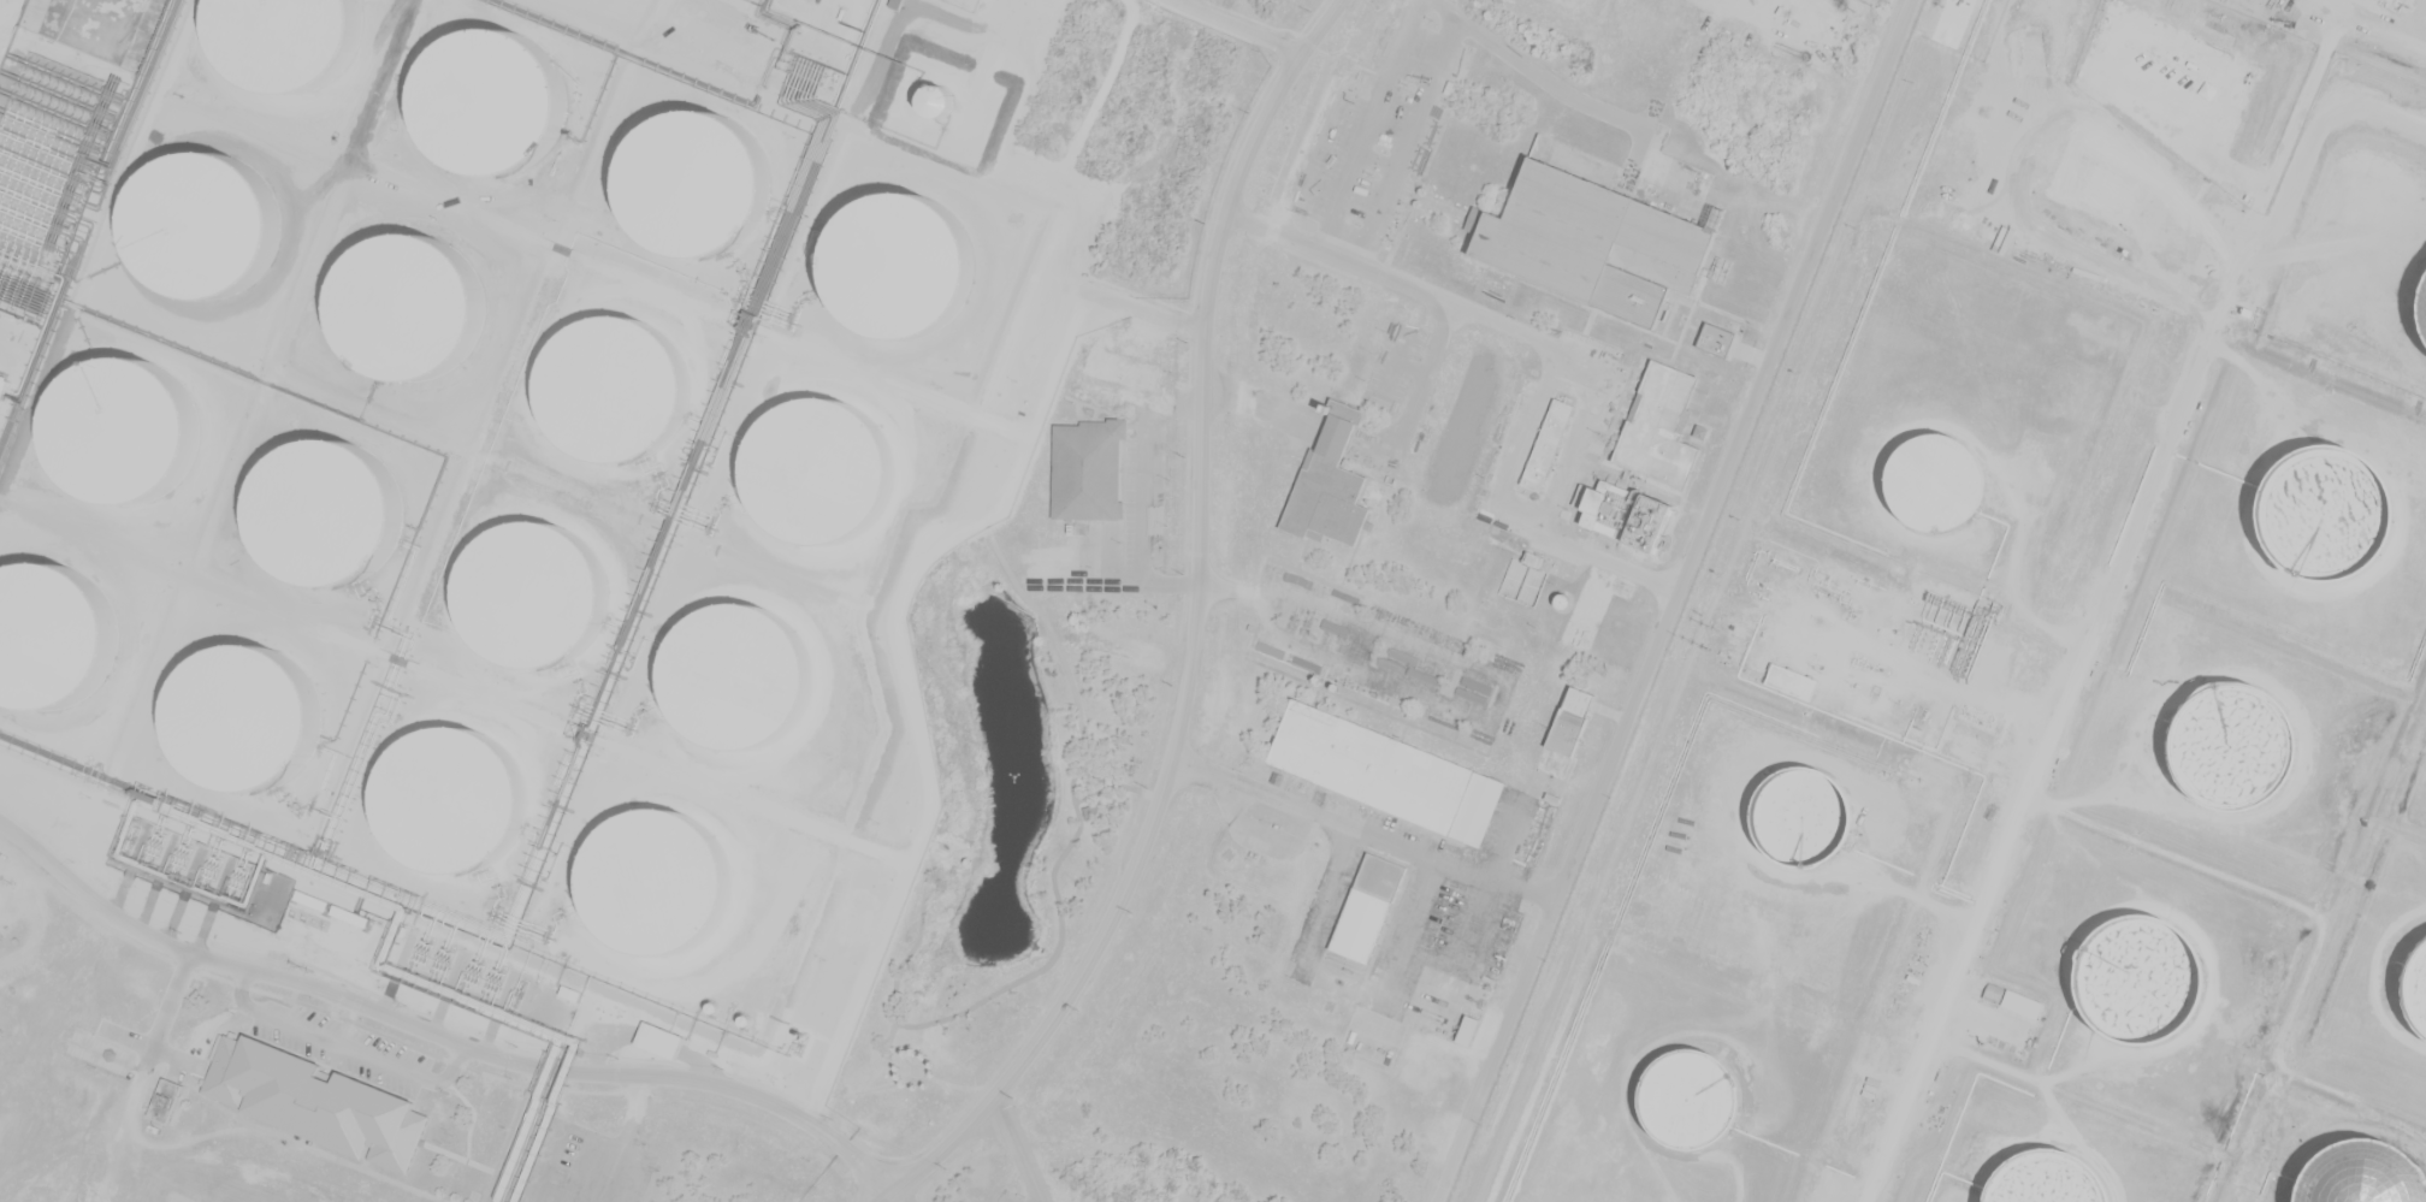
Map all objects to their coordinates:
road: (6, 8)
building: (838, 20)
road: (2374, 25)
building: (878, 32)
building: (336, 39)
building: (628, 79)
building: (309, 117)
building: (468, 119)
building: (598, 179)
building: (430, 231)
building: (410, 278)
building: (916, 284)
building: (1614, 308)
building: (445, 333)
building: (1715, 338)
building: (977, 341)
building: (1089, 342)
building: (202, 379)
building: (619, 391)
storage tank: (619, 391)
building: (272, 402)
building: (91, 411)
building: (335, 426)
building: (178, 442)
building: (1548, 443)
building: (401, 446)
building: (822, 467)
storage tank: (822, 467)
building: (1088, 468)
building: (245, 480)
building: (1330, 484)
building: (1939, 486)
storage tank: (1939, 486)
building: (371, 502)
building: (2326, 514)
storage tank: (2326, 514)
building: (267, 532)
building: (1395, 540)
building: (339, 576)
building: (531, 596)
storage tank: (531, 596)
building: (1562, 600)
storage tank: (1562, 600)
road: (1670, 600)
road: (1193, 634)
building: (745, 679)
storage tank: (745, 679)
building: (185, 680)
building: (1789, 681)
building: (270, 707)
building: (154, 715)
building: (1567, 732)
building: (2233, 750)
storage tank: (2233, 750)
building: (1389, 774)
building: (451, 798)
storage tank: (451, 798)
building: (1803, 817)
storage tank: (1803, 817)
building: (661, 880)
storage tank: (661, 880)
building: (1367, 905)
building: (823, 918)
building: (2138, 977)
storage tank: (2138, 977)
building: (2418, 988)
storage tank: (2418, 988)
building: (1992, 991)
building: (572, 994)
building: (1468, 1029)
road: (437, 1032)
building: (661, 1040)
building: (168, 1100)
building: (321, 1101)
building: (1691, 1101)
storage tank: (1691, 1101)
building: (2048, 1179)
storage tank: (2048, 1179)

